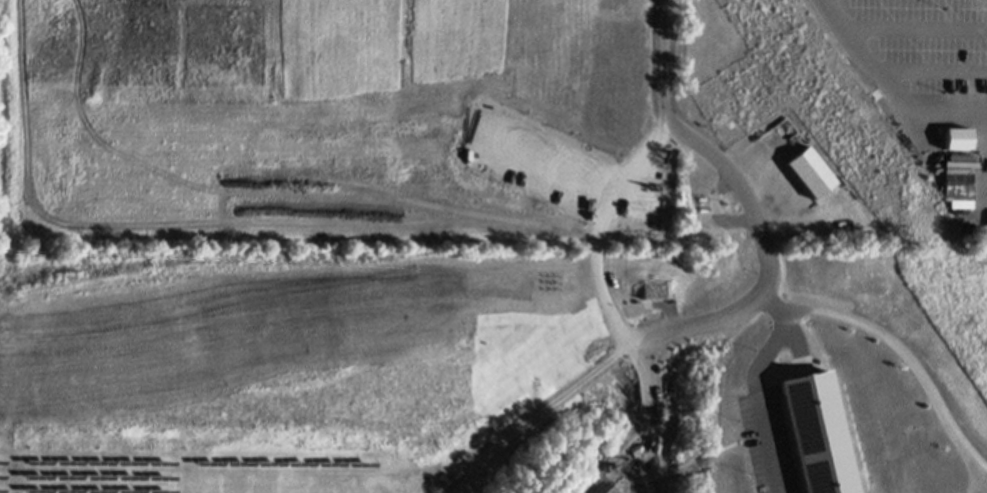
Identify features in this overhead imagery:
road: (912, 27)
road: (885, 89)
building: (806, 173)
building: (712, 227)
road: (768, 284)
road: (715, 315)
road: (753, 393)
building: (817, 433)
solar farm: (192, 473)
road: (641, 475)

